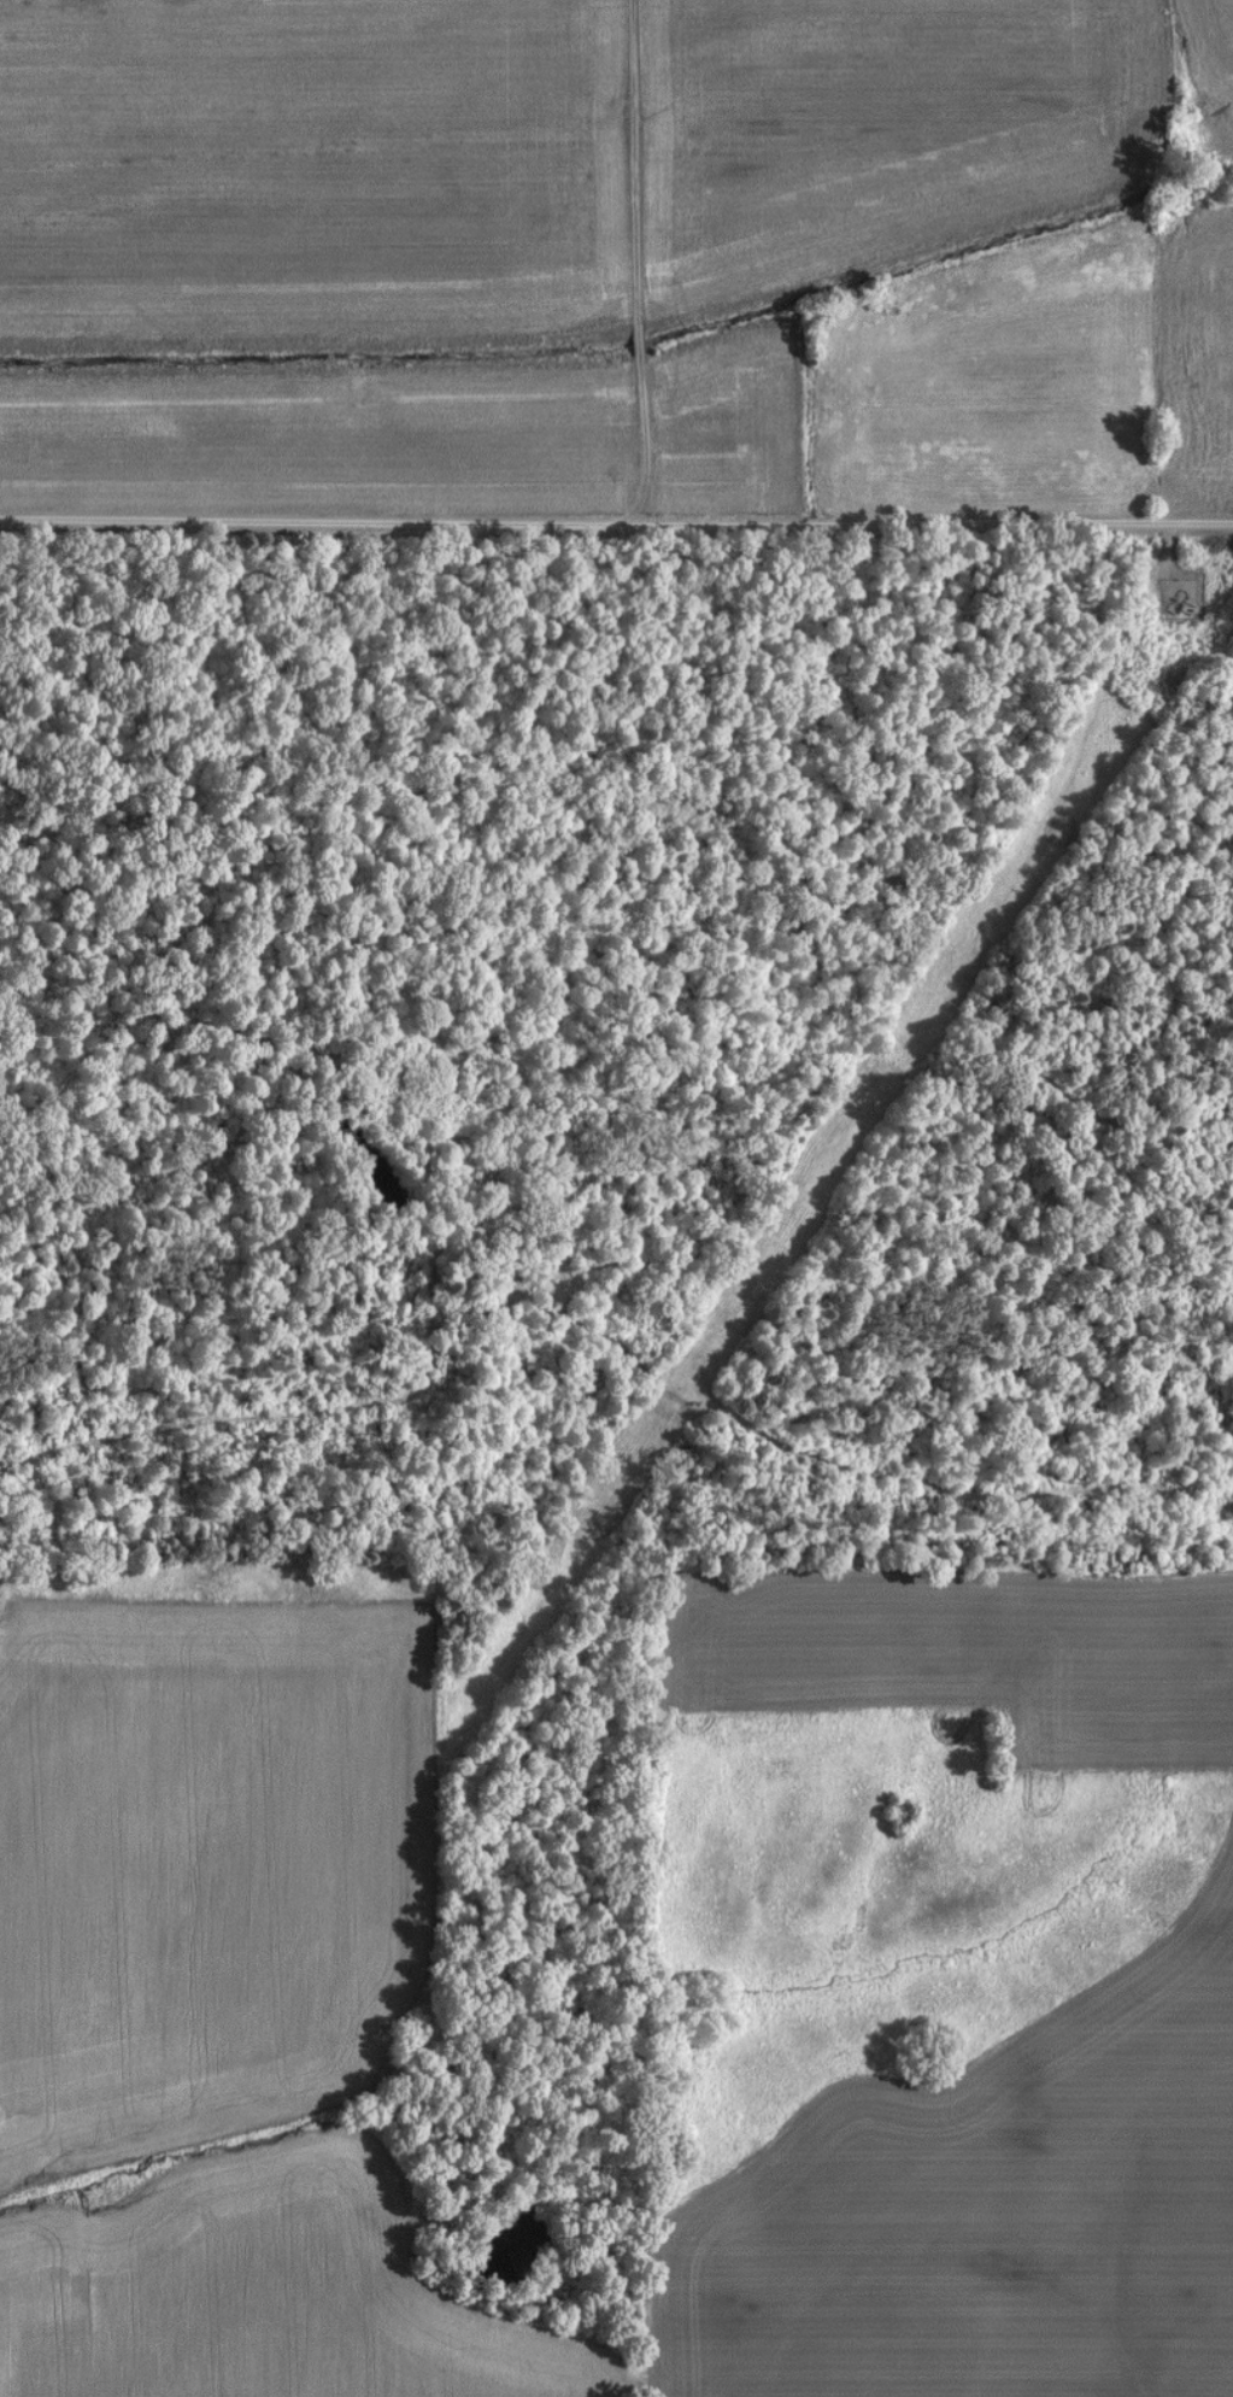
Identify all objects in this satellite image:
road: (635, 263)
road: (616, 524)

